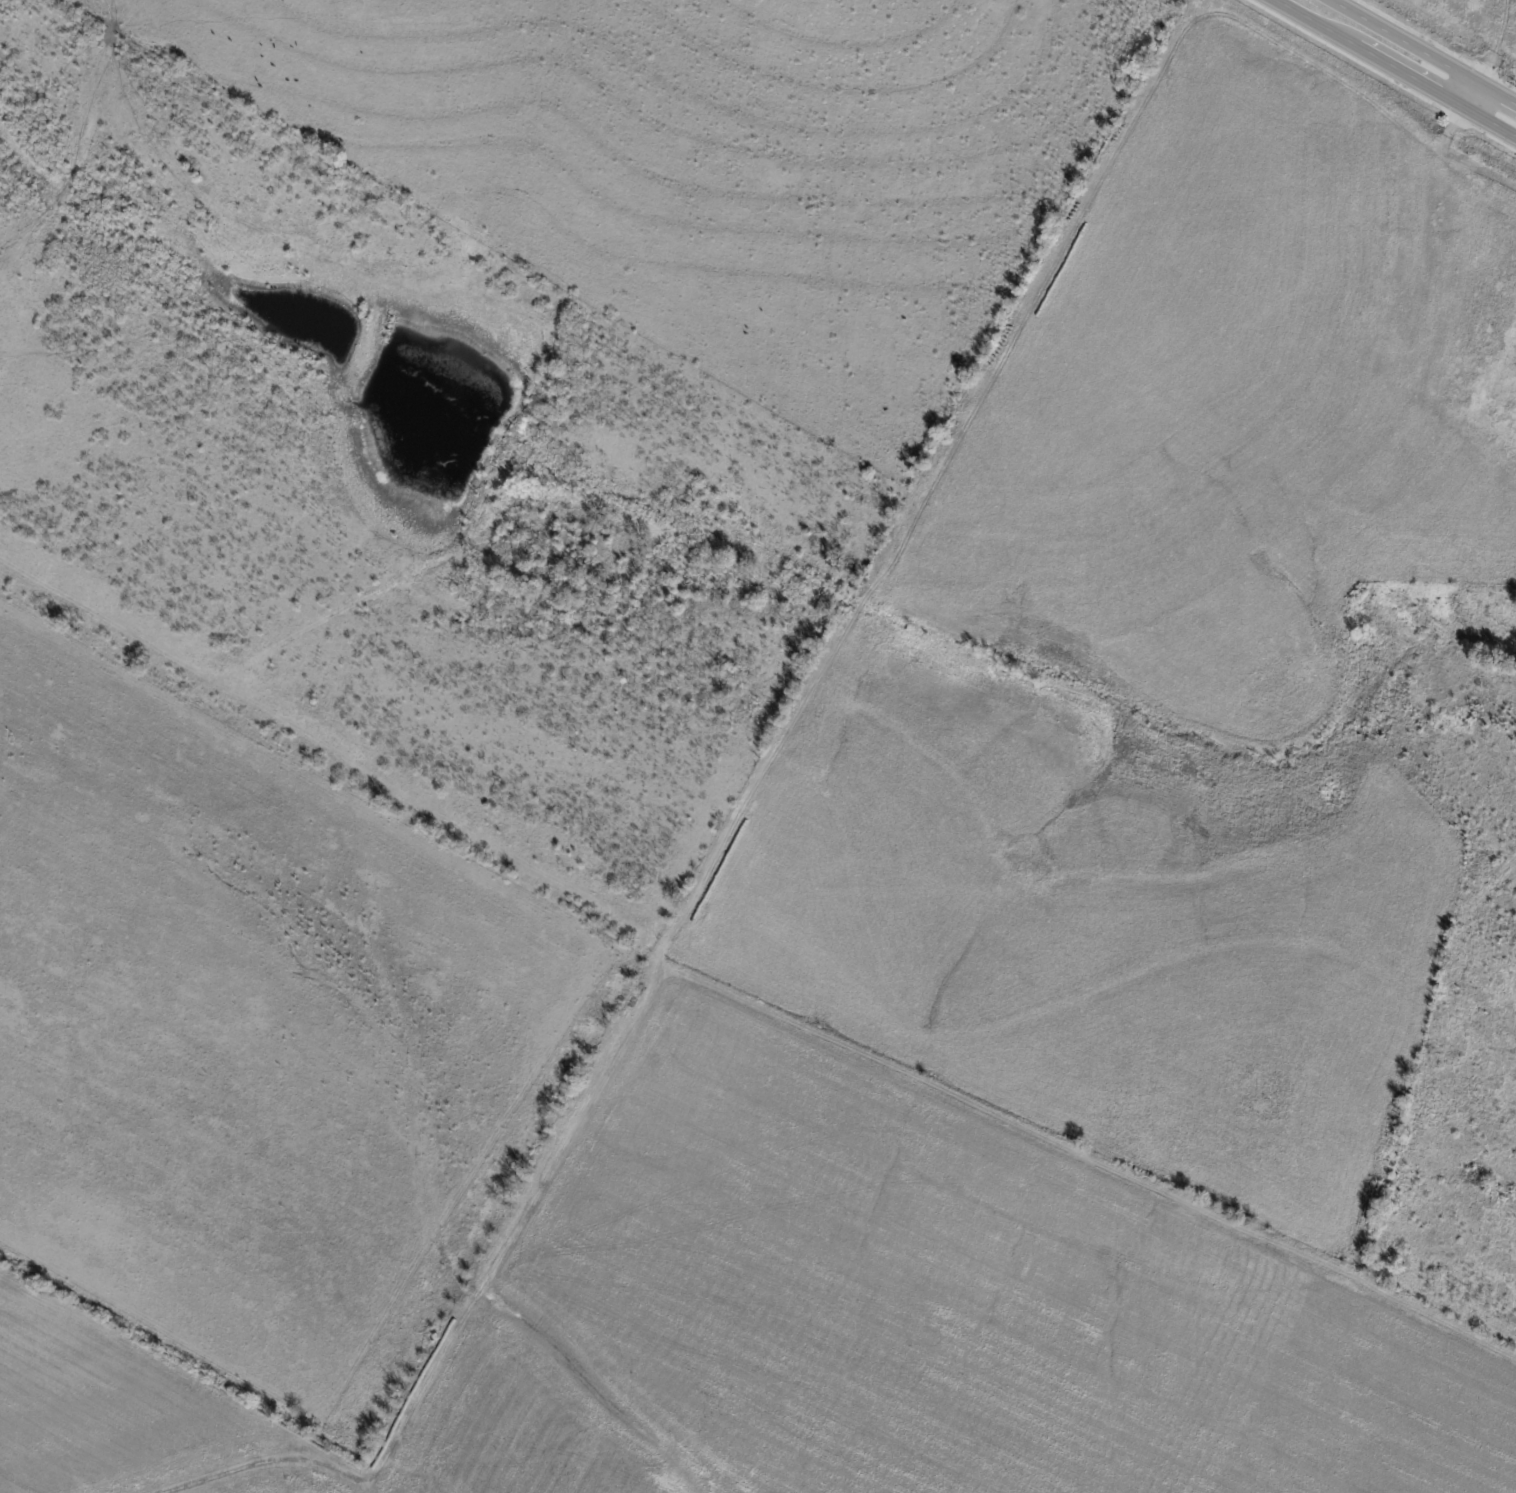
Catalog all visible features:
road: (1424, 51)
road: (1395, 67)
road: (1467, 91)

